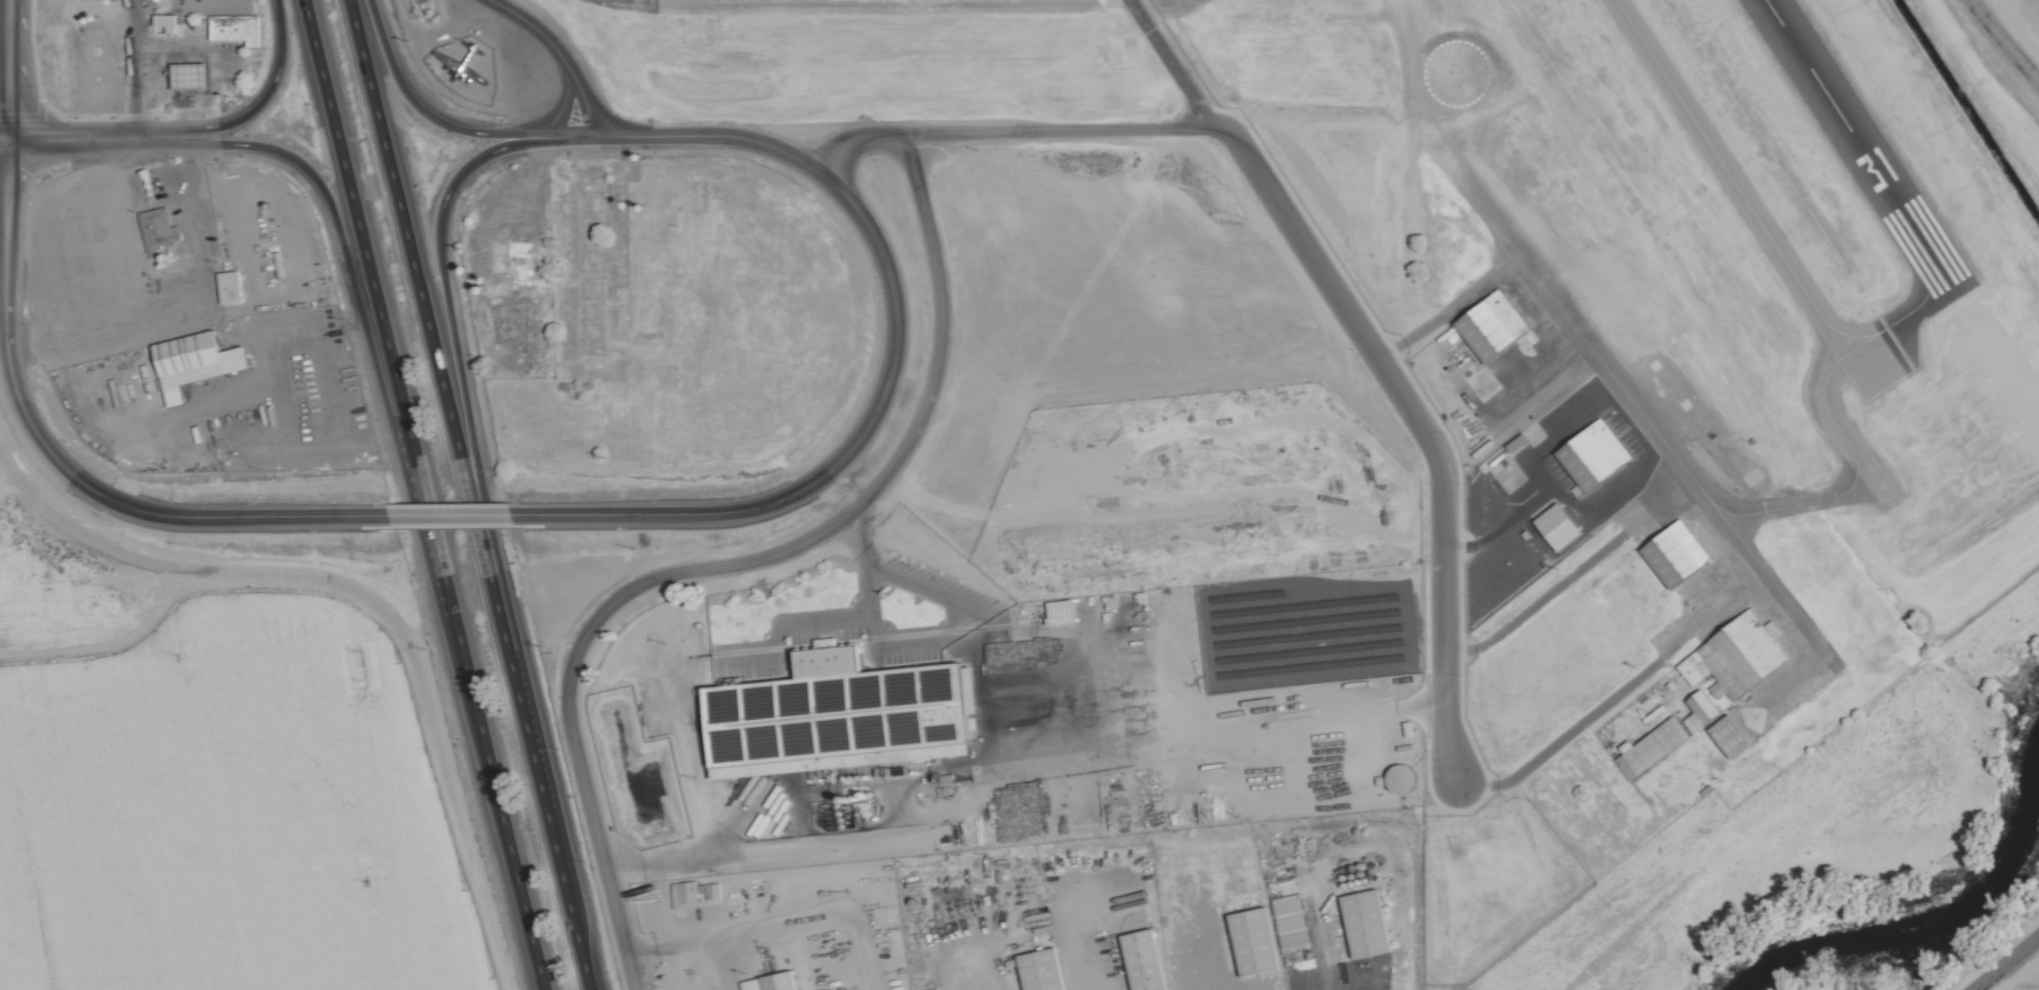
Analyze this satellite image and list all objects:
airport apron: (1176, 5)
road: (179, 6)
airport apron: (626, 6)
airport taxiway: (1230, 6)
airport taxiway: (1376, 6)
building: (170, 21)
park: (2021, 21)
building: (239, 28)
road: (2001, 43)
road: (556, 54)
road: (1165, 59)
road: (125, 67)
road: (5, 68)
road: (263, 102)
road: (412, 104)
road: (29, 117)
road: (555, 117)
road: (1053, 127)
road: (84, 136)
road: (674, 136)
road: (2, 137)
road: (855, 141)
airport runway: (1858, 144)
road: (198, 217)
road: (356, 223)
airport taxiway: (1759, 225)
building: (160, 228)
road: (338, 235)
building: (232, 286)
road: (420, 297)
road: (4, 308)
road: (1451, 319)
building: (1488, 325)
road: (107, 328)
road: (456, 347)
airport: (1679, 351)
airport taxiway: (1837, 361)
building: (196, 362)
road: (1409, 420)
airport taxiway: (1835, 429)
building: (1589, 455)
road: (831, 468)
road: (1615, 482)
road: (449, 518)
road: (217, 520)
building: (1554, 526)
building: (1671, 553)
road: (732, 566)
building: (1733, 656)
building: (820, 660)
road: (518, 702)
building: (1697, 710)
road: (1586, 713)
road: (477, 718)
building: (1726, 736)
building: (1648, 747)
building: (1397, 779)
road: (814, 792)
building: (691, 895)
road: (566, 900)
building: (1286, 916)
road: (823, 918)
building: (1361, 923)
road: (1313, 927)
road: (1085, 939)
building: (1249, 941)
road: (670, 949)
building: (1139, 960)
road: (2005, 963)
road: (720, 965)
road: (950, 965)
building: (1037, 970)
building: (768, 982)

